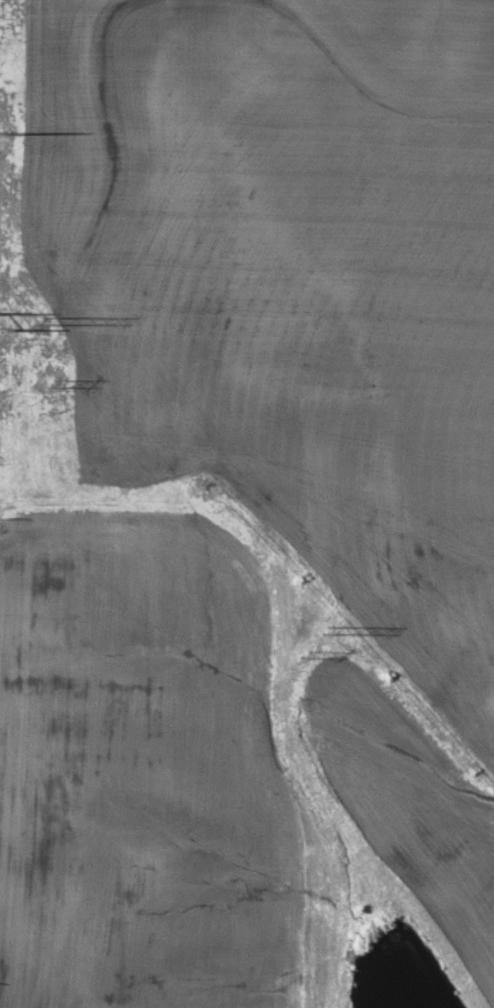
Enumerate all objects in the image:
power tower: (1, 135)
power tower: (36, 321)
power tower: (47, 384)
power tower: (324, 630)
power tower: (301, 654)

